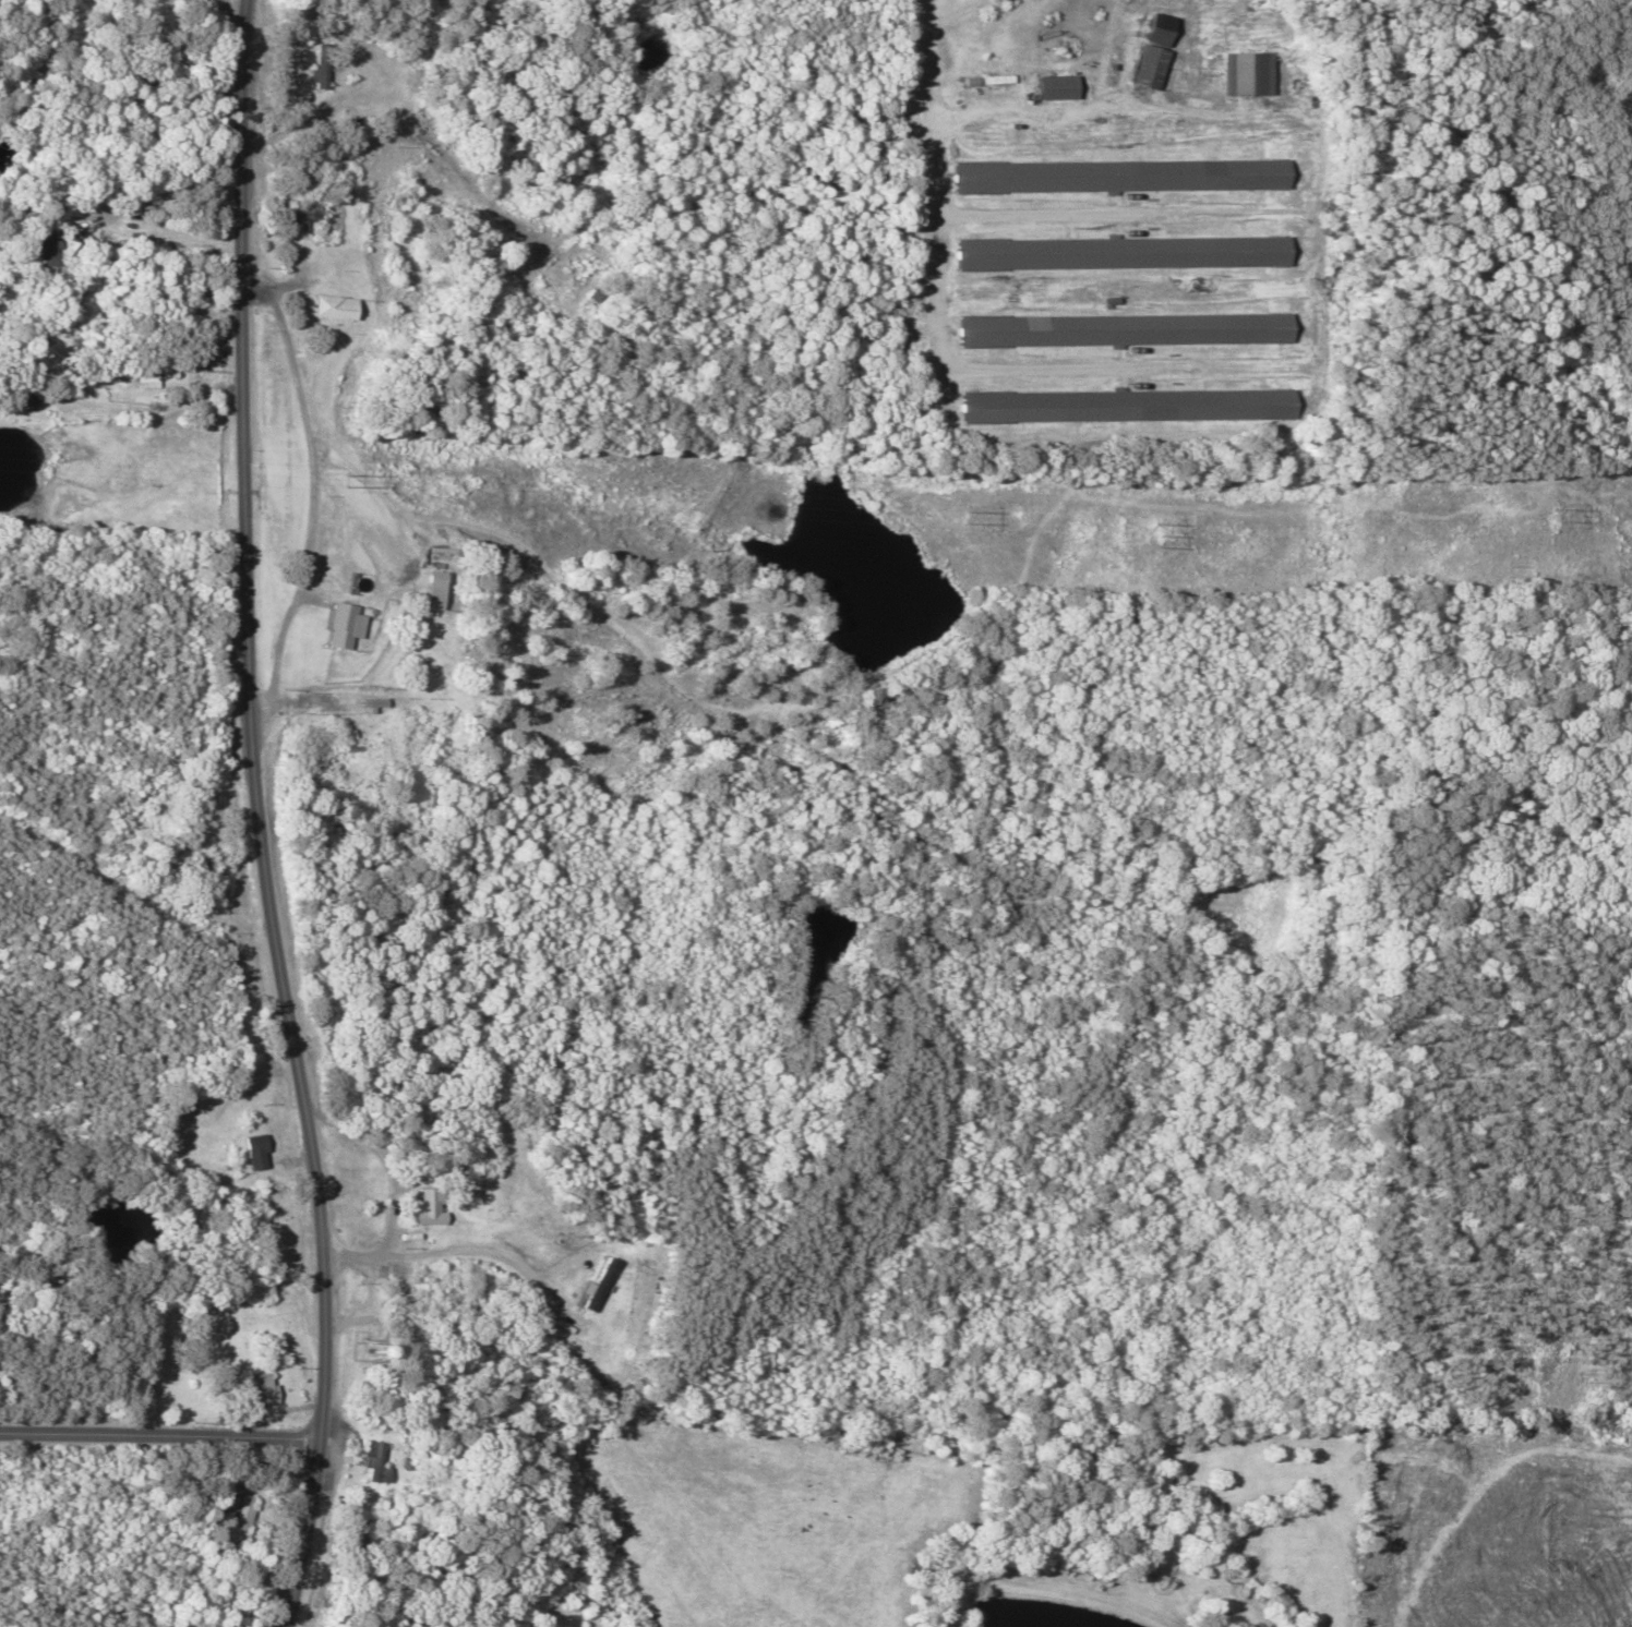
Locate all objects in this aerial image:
building: (323, 67)
building: (1244, 74)
building: (1063, 87)
building: (1117, 176)
building: (298, 217)
building: (45, 249)
building: (1117, 253)
building: (560, 260)
building: (591, 298)
building: (327, 308)
building: (1116, 329)
building: (1115, 406)
building: (329, 627)
road: (249, 817)
building: (187, 869)
building: (238, 1153)
building: (415, 1209)
building: (242, 1387)
road: (154, 1434)
building: (367, 1462)
building: (223, 1512)

